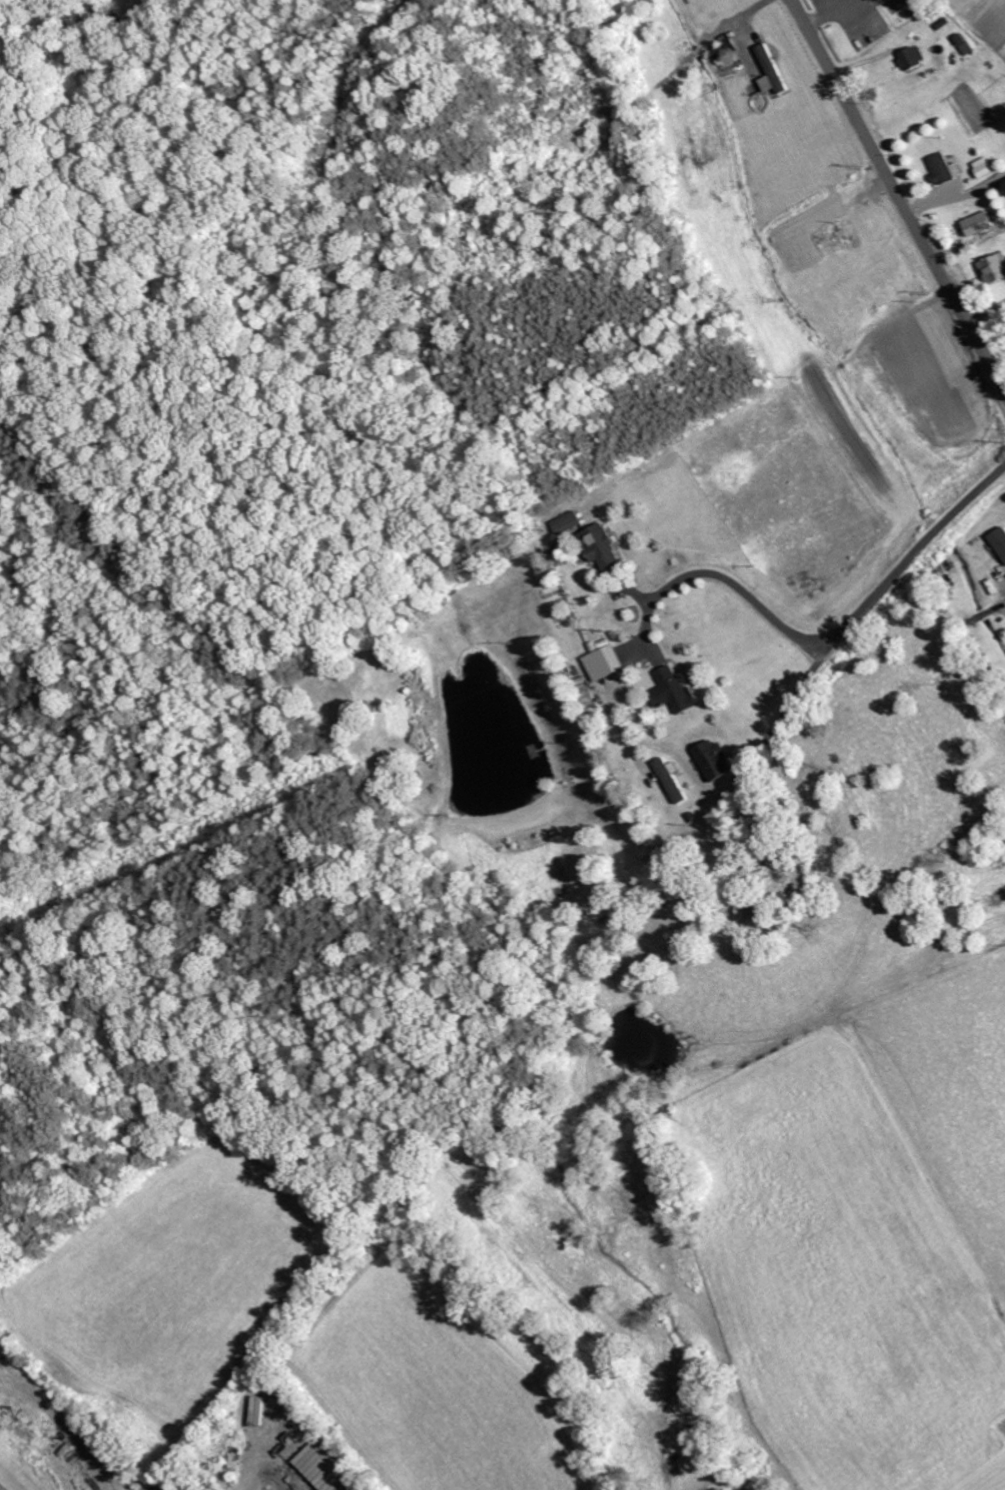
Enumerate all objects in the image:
building: (882, 1)
building: (966, 45)
building: (726, 50)
building: (914, 59)
building: (773, 73)
building: (985, 167)
building: (946, 169)
road: (898, 196)
building: (978, 224)
building: (995, 268)
building: (571, 523)
building: (1000, 540)
building: (605, 547)
building: (609, 663)
building: (675, 690)
building: (718, 760)
building: (676, 781)
building: (323, 1470)
building: (724, 1488)

